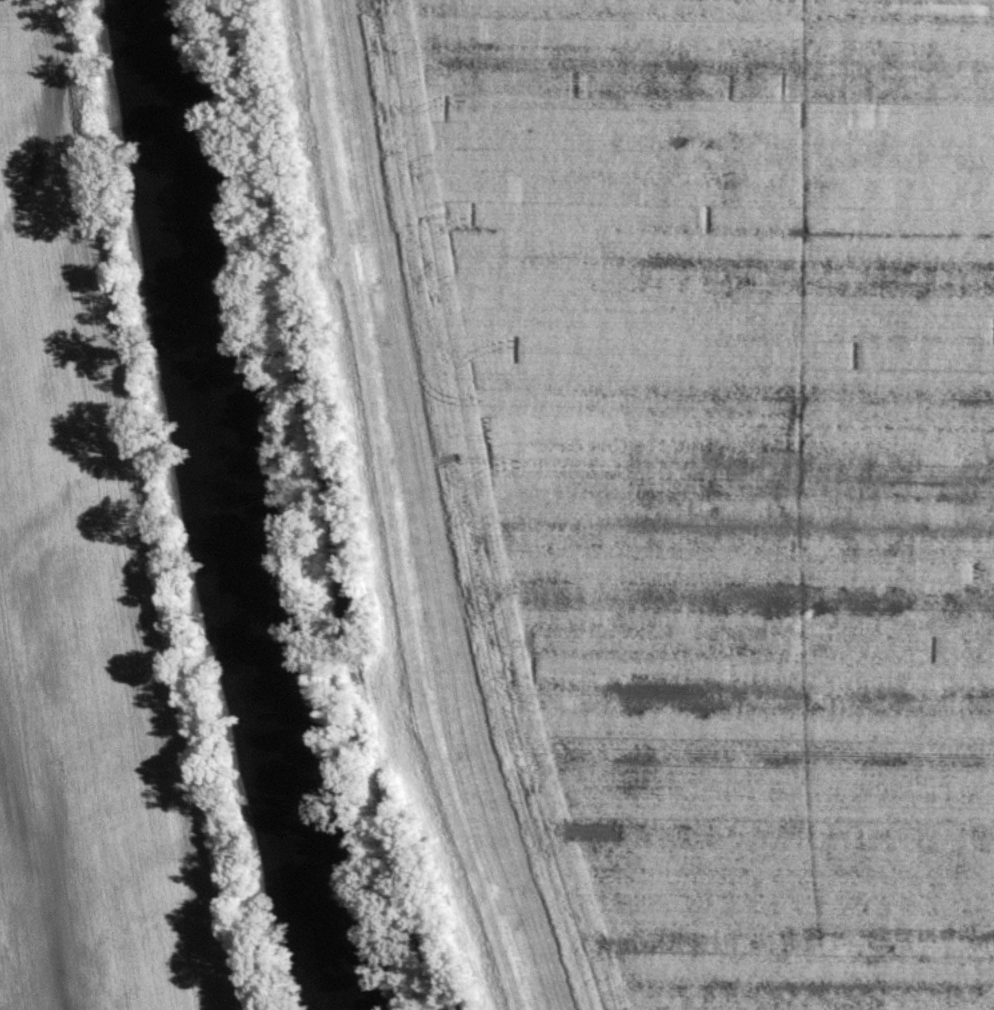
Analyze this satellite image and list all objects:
crop: (727, 470)
river: (225, 509)

